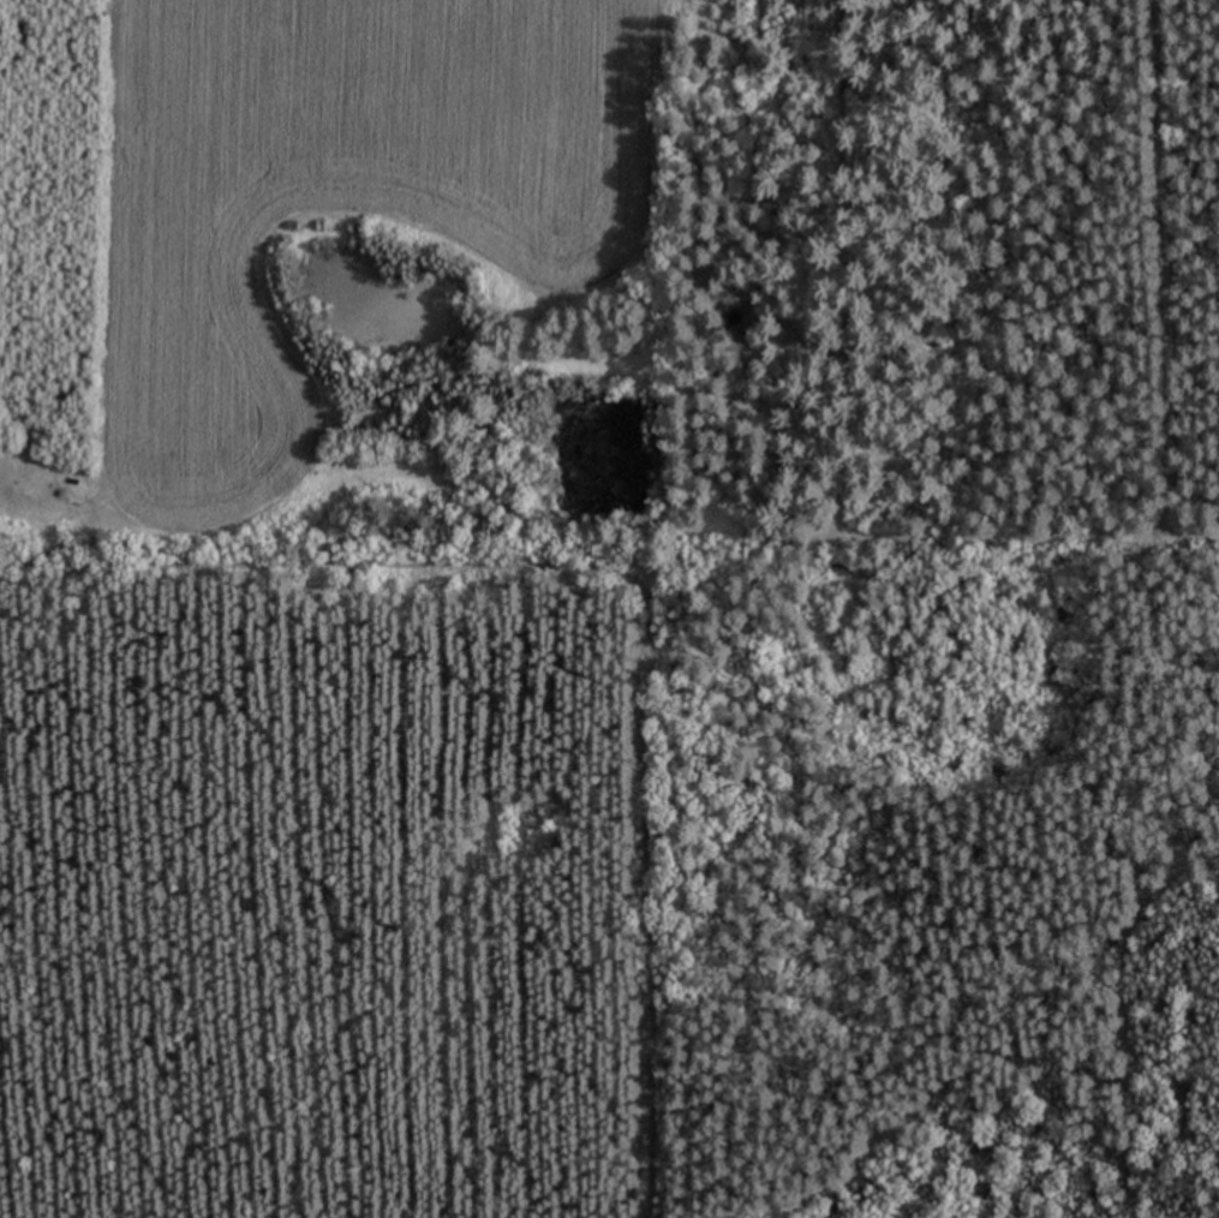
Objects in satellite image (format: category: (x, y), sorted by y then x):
road: (821, 609)

